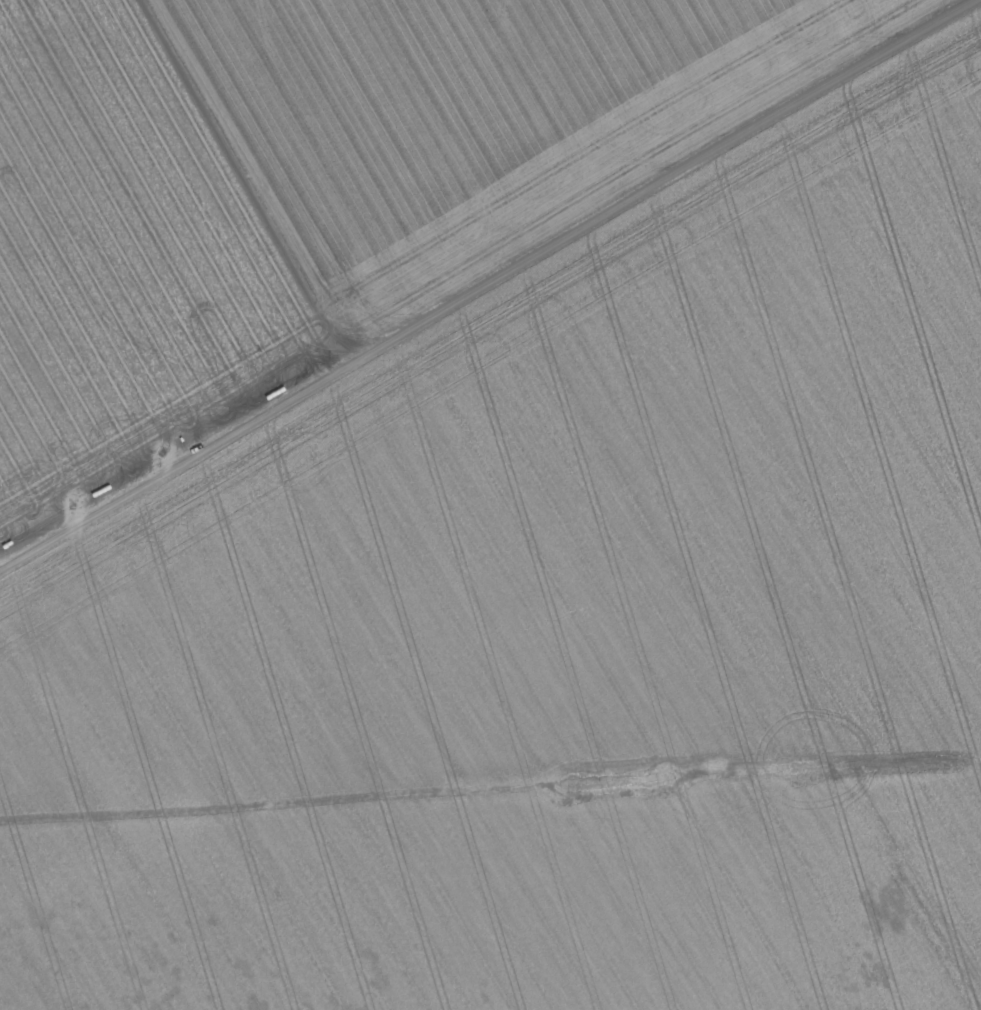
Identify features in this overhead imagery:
road: (477, 279)

